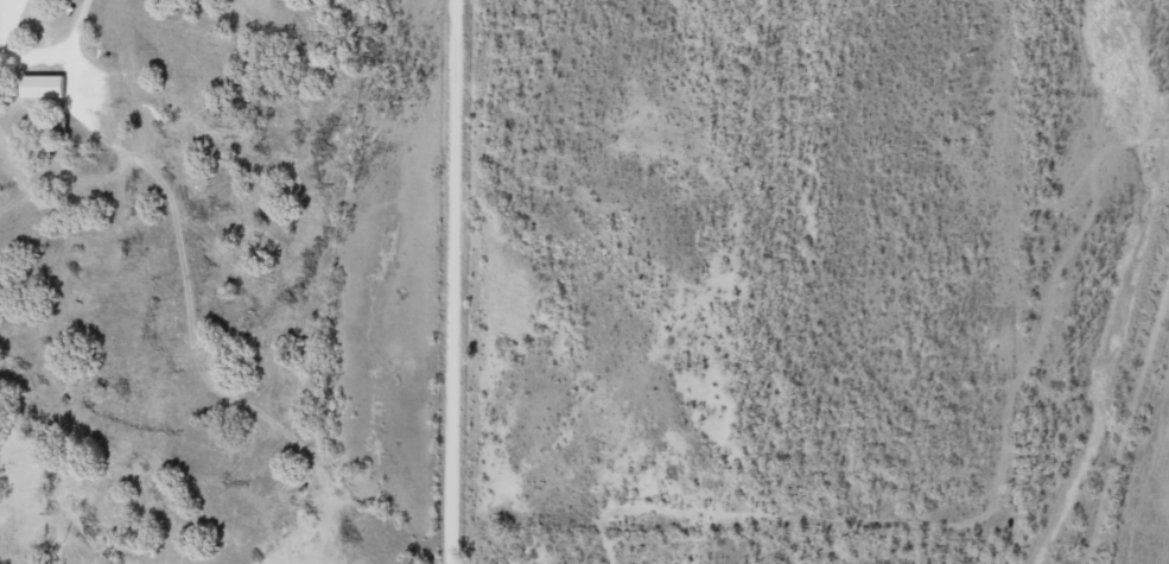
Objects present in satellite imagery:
building: (44, 84)
road: (456, 281)

